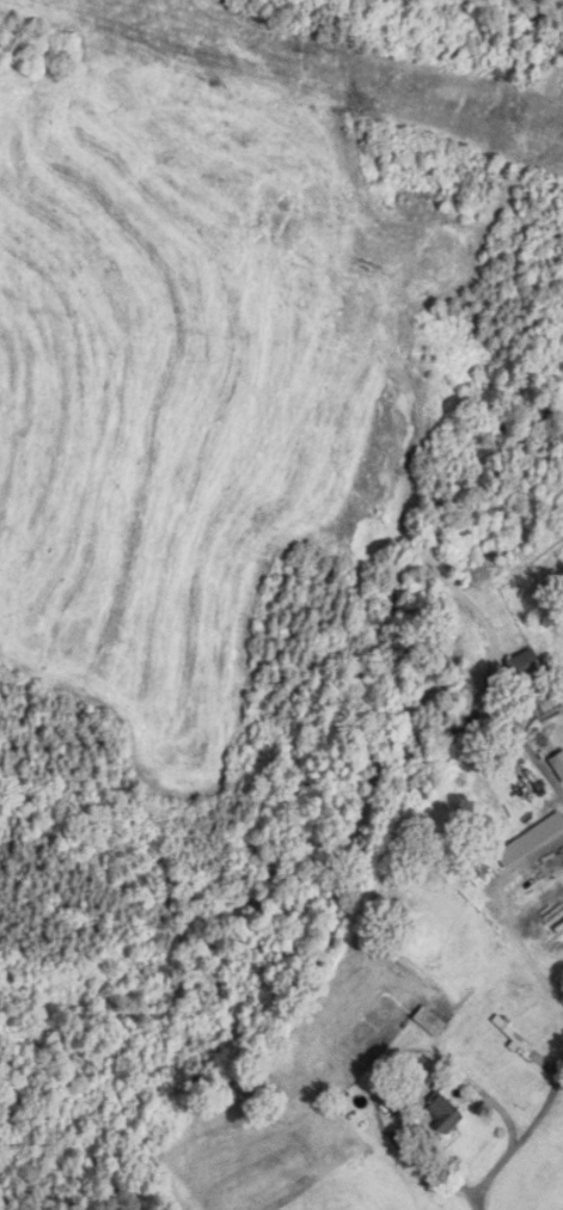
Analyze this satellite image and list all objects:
building: (526, 666)
road: (518, 735)
building: (558, 765)
building: (546, 831)
building: (430, 1022)
road: (380, 1070)
building: (445, 1114)
road: (521, 1139)

